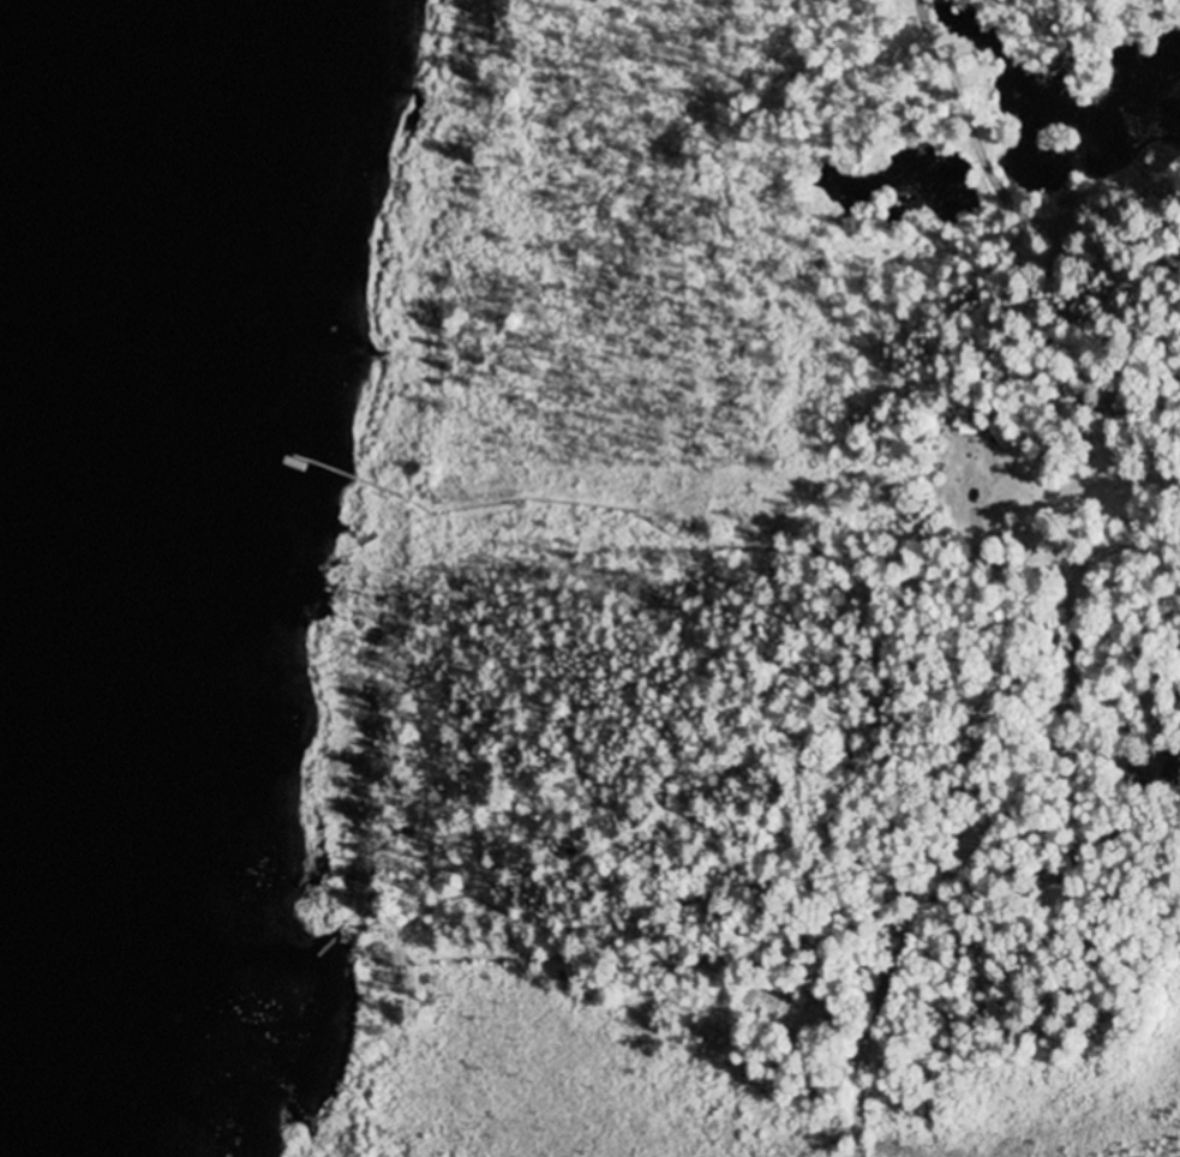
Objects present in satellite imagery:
building: (1172, 768)
building: (1133, 777)
road: (960, 867)
building: (1054, 873)

